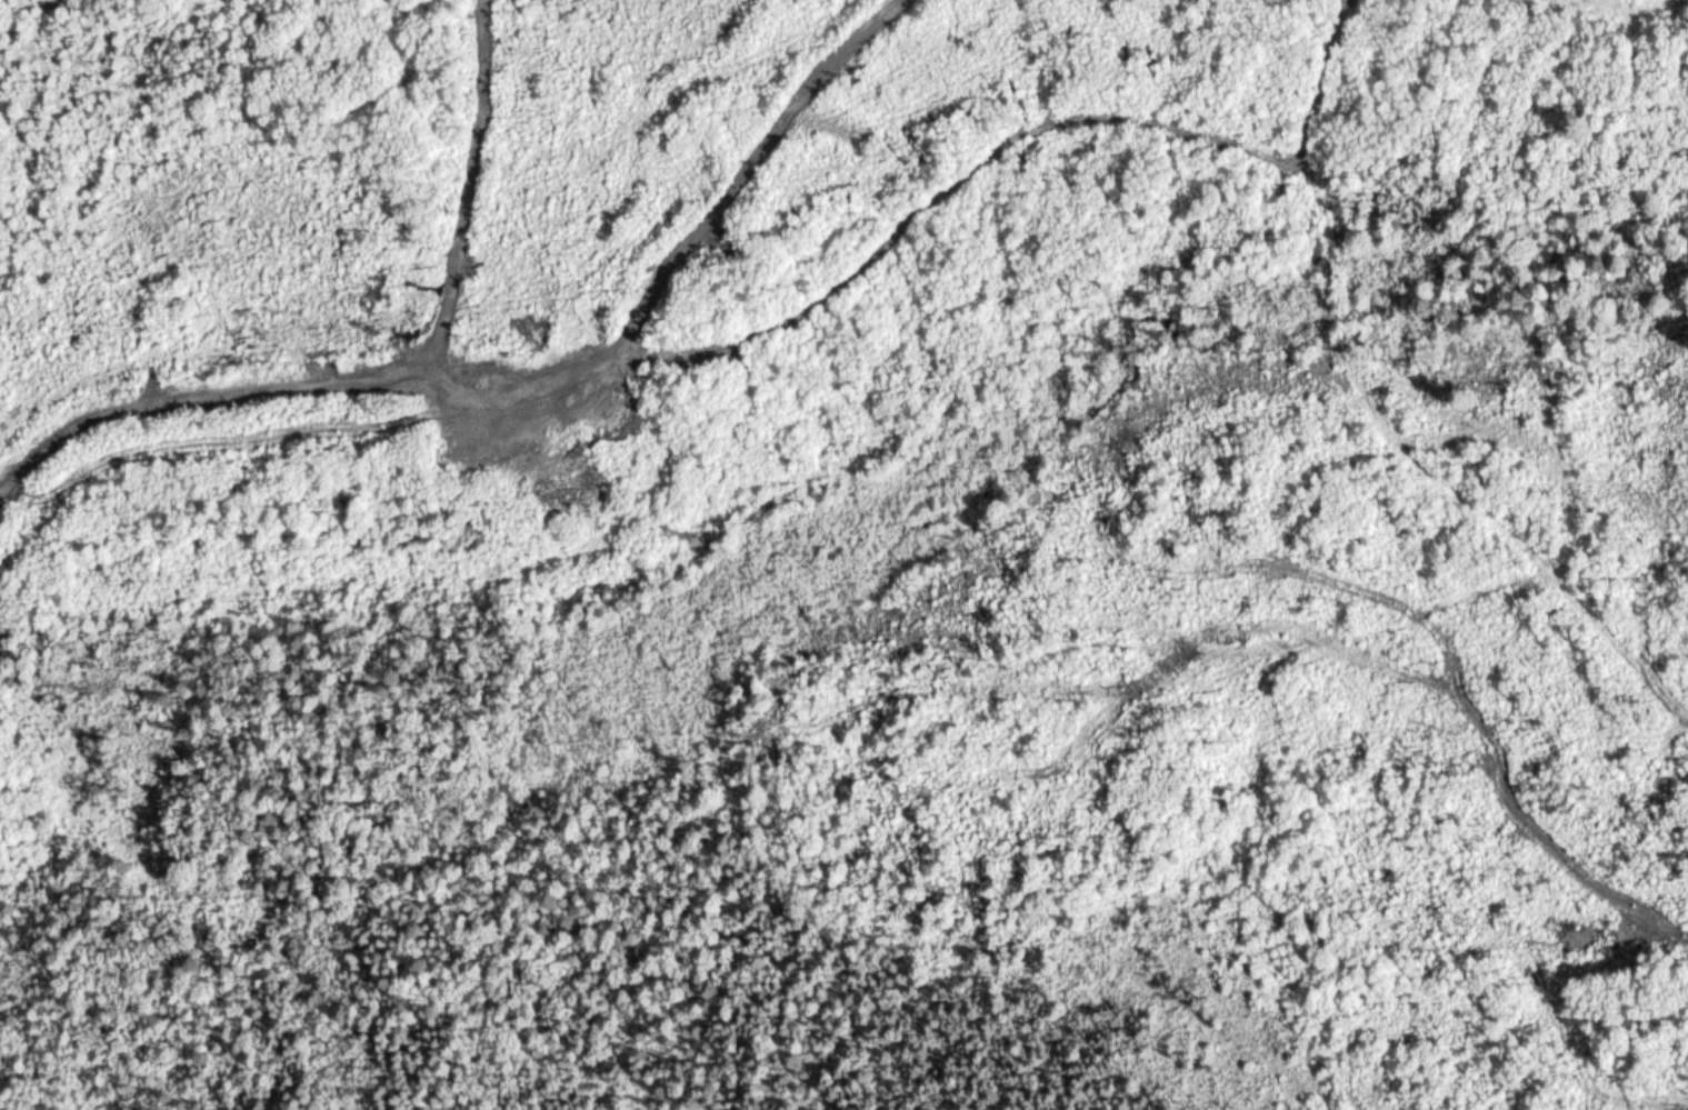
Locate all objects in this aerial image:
road: (366, 372)

